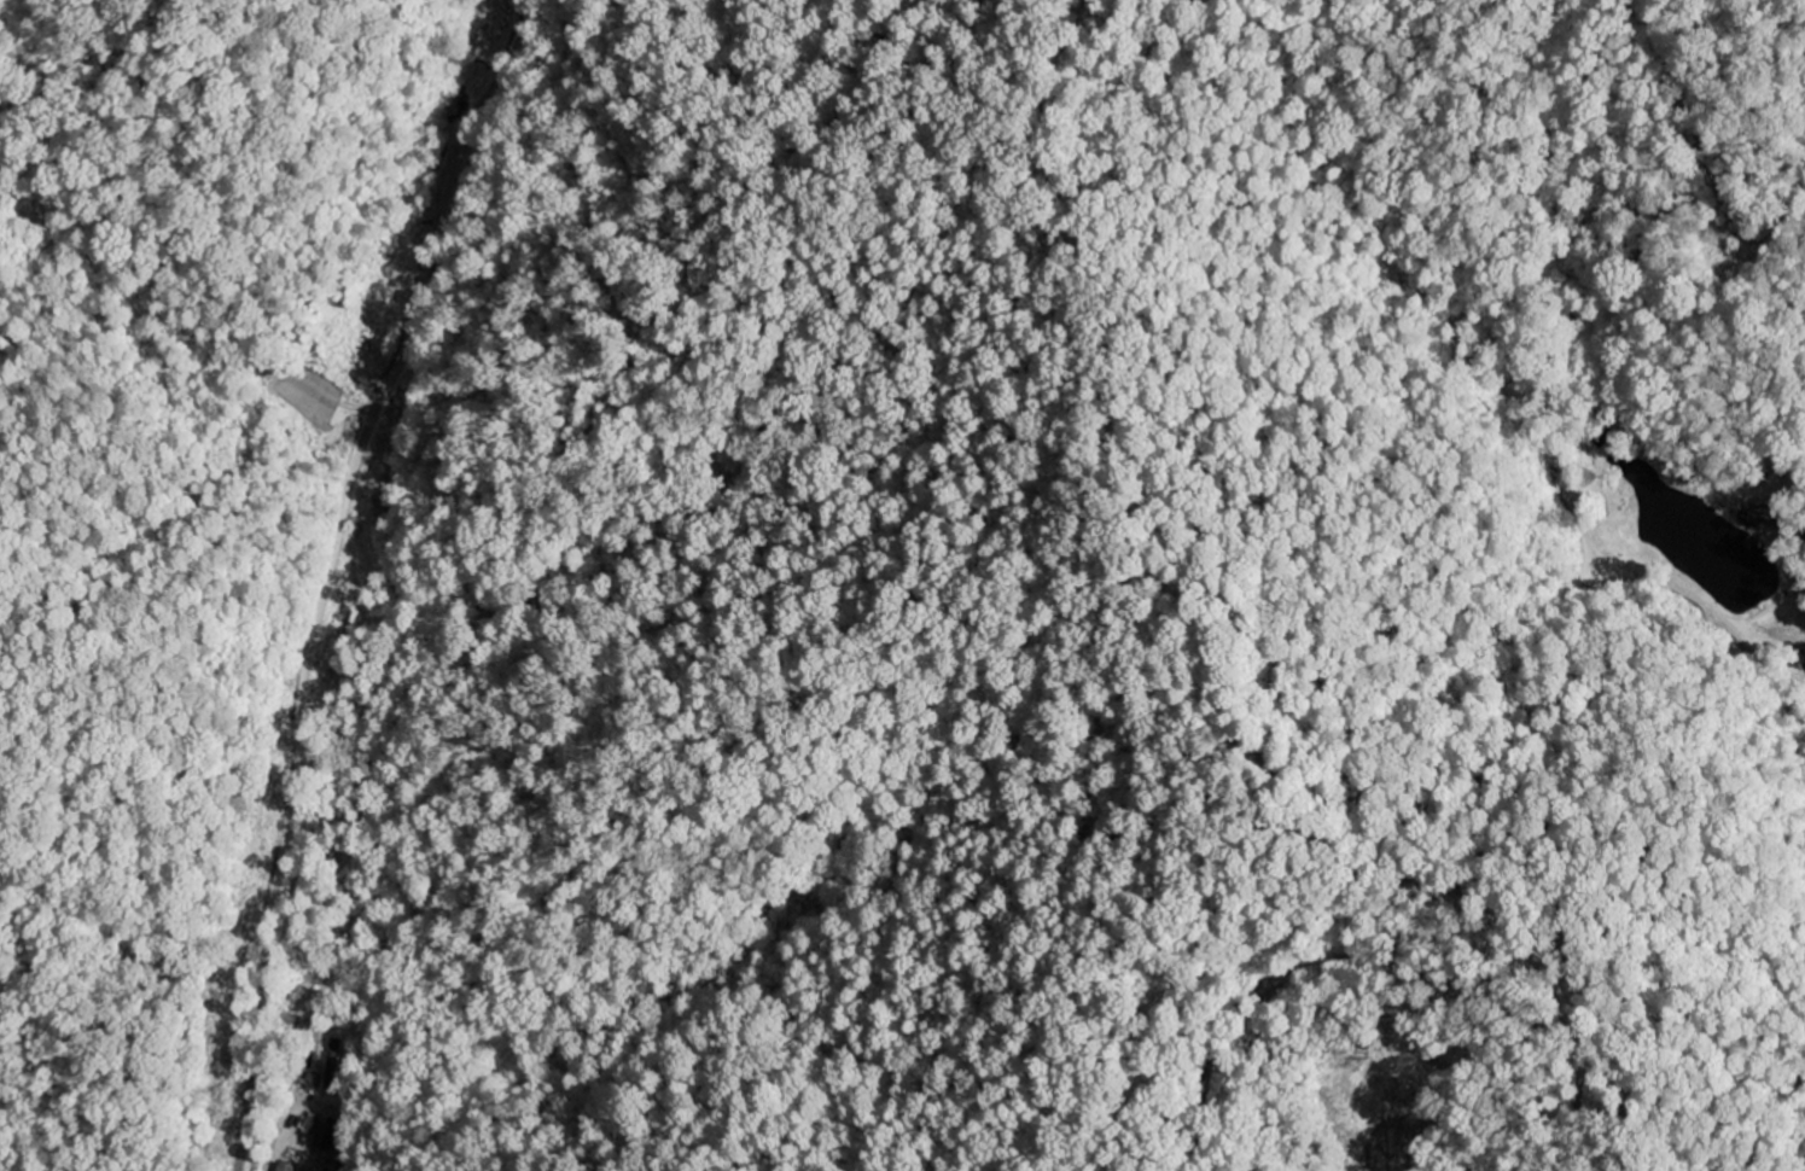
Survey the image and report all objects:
building: (1749, 518)
road: (331, 569)
road: (6, 1163)
building: (280, 1169)

